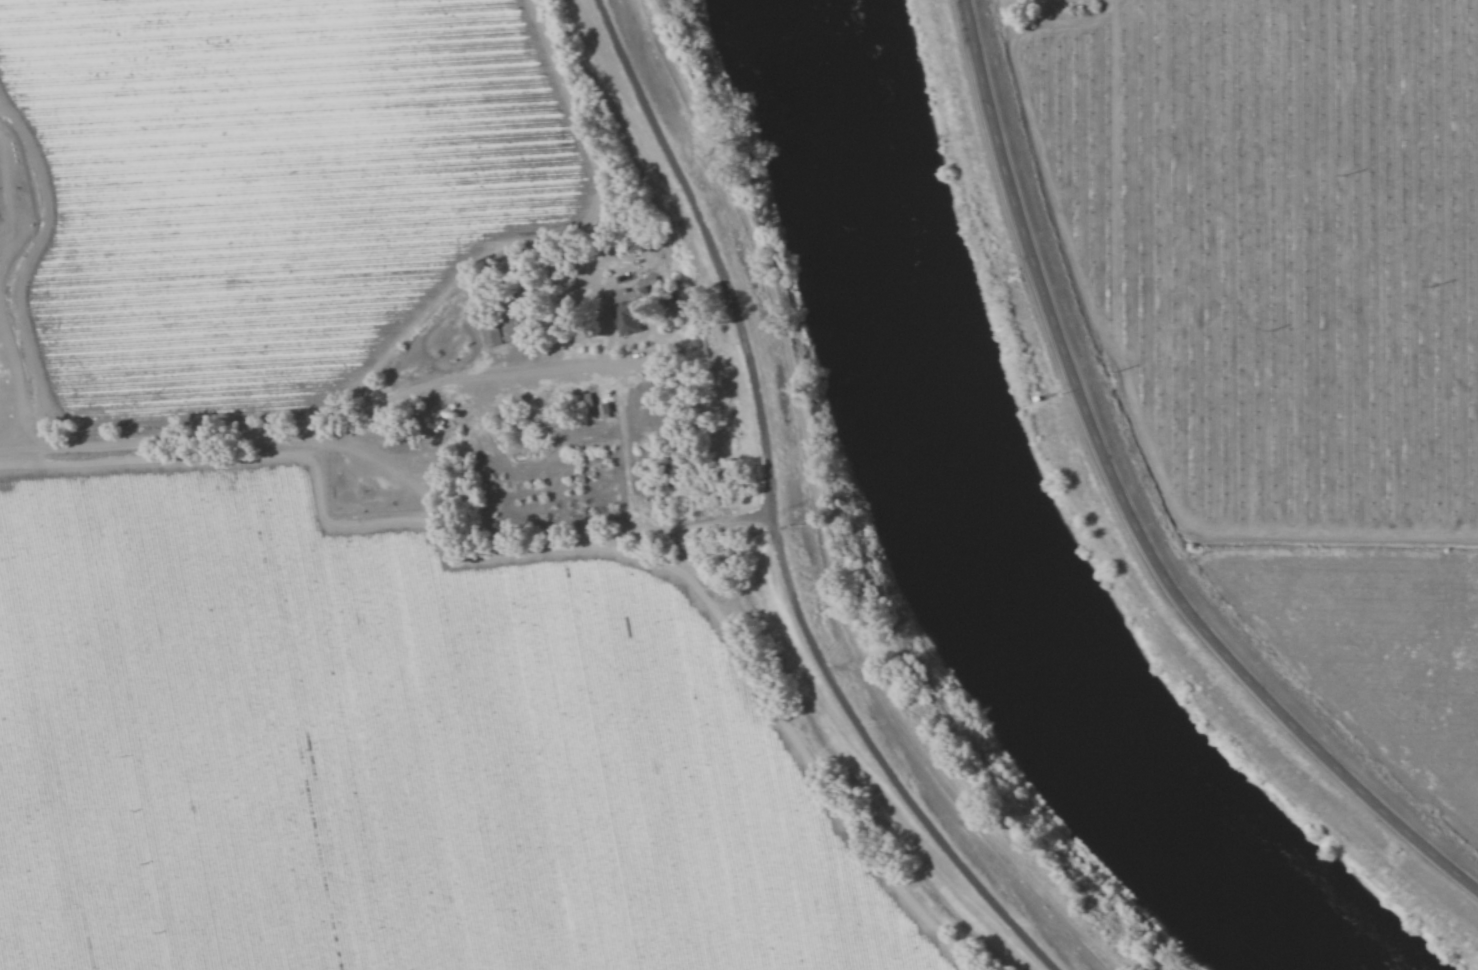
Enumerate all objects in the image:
building: (629, 323)
road: (15, 372)
road: (442, 378)
road: (1130, 499)
road: (776, 513)
river: (977, 540)

